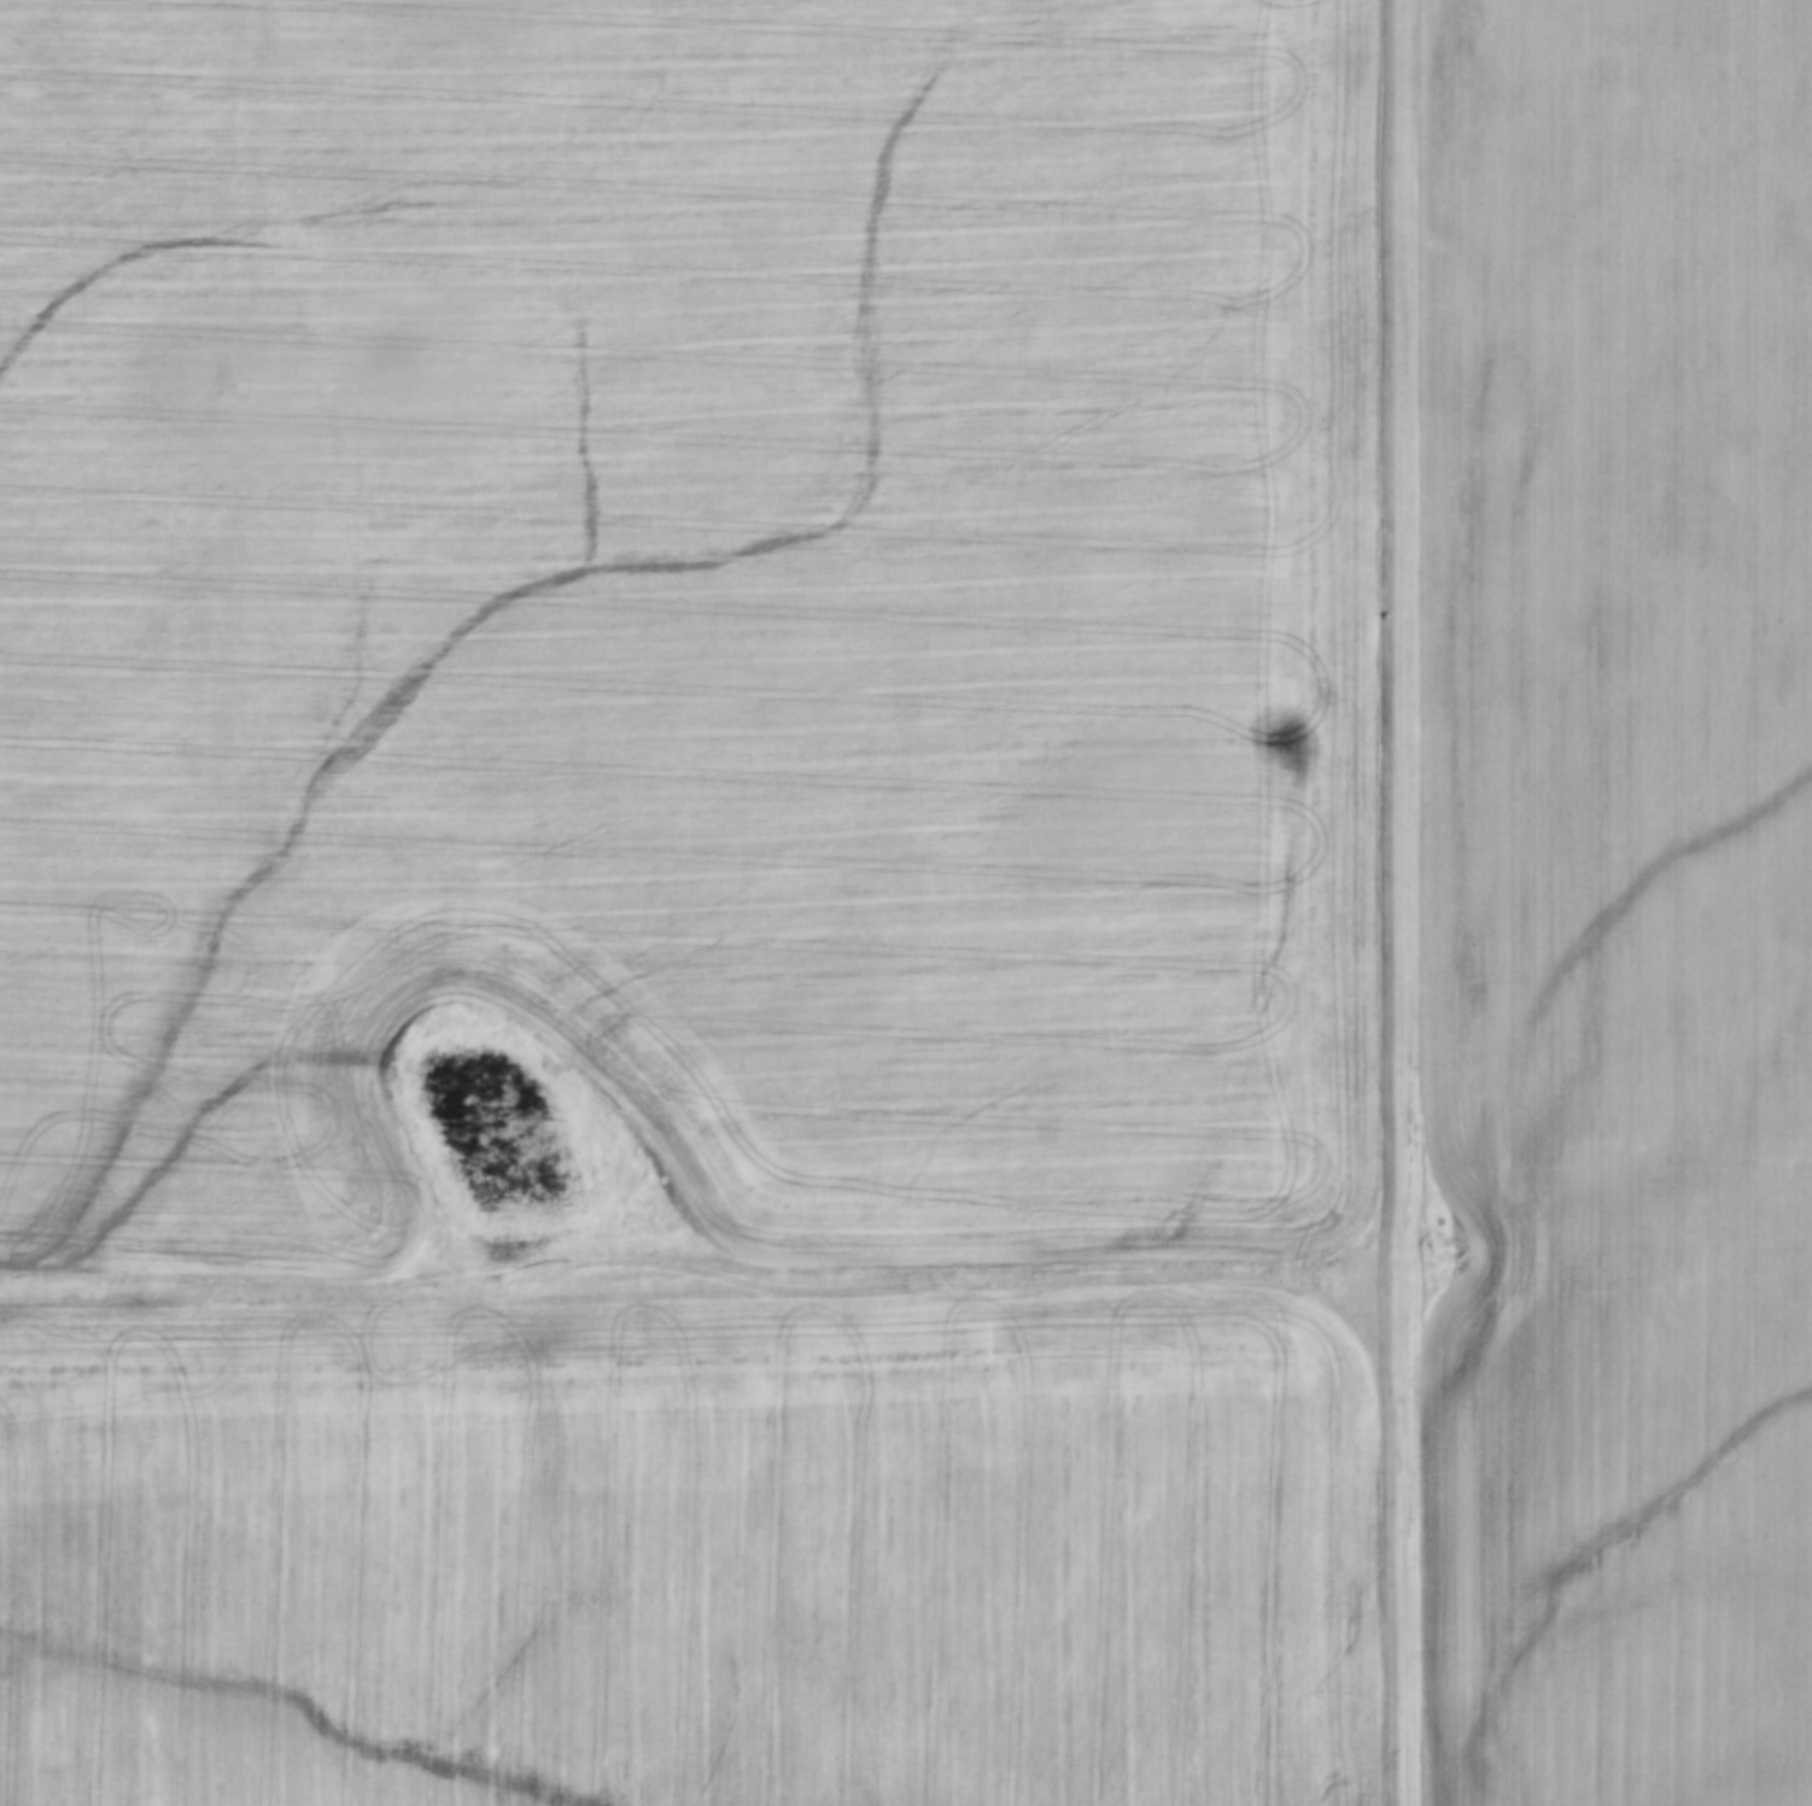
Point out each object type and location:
road: (1407, 615)

